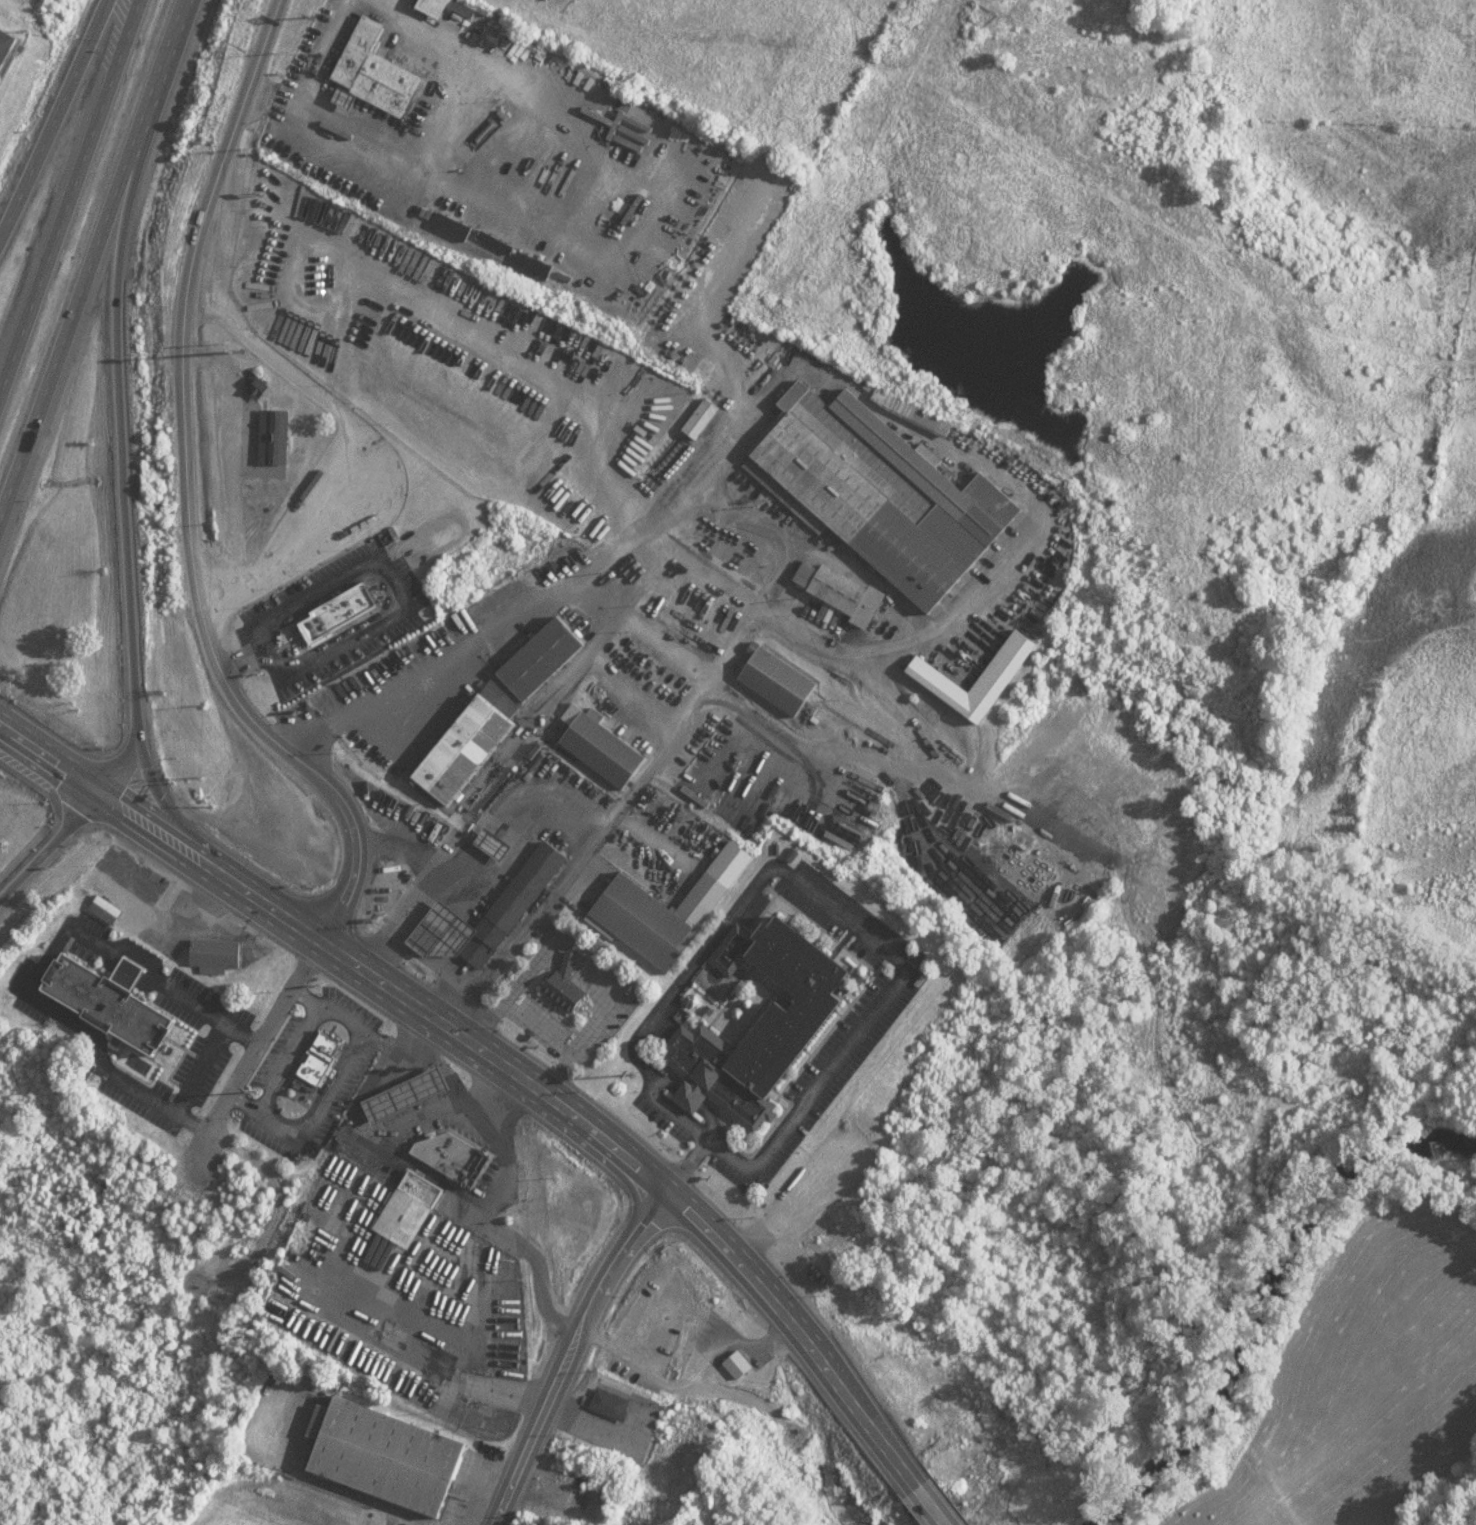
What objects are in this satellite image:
building: (6, 47)
building: (375, 71)
building: (446, 98)
road: (50, 115)
road: (64, 185)
road: (90, 253)
building: (255, 387)
building: (910, 413)
building: (701, 420)
road: (357, 435)
building: (273, 438)
road: (116, 448)
road: (228, 468)
road: (187, 494)
building: (878, 494)
building: (854, 601)
building: (338, 612)
parking lot: (331, 618)
building: (541, 659)
building: (776, 681)
building: (602, 749)
building: (464, 751)
road: (51, 759)
road: (149, 771)
traffic signals: (103, 794)
building: (1098, 806)
road: (567, 814)
building: (1119, 825)
road: (154, 827)
road: (51, 846)
road: (411, 853)
building: (538, 870)
road: (237, 882)
building: (108, 911)
building: (653, 919)
road: (844, 919)
building: (493, 927)
gas station: (440, 931)
building: (215, 955)
road: (356, 959)
road: (43, 961)
parking lot: (463, 976)
building: (563, 986)
building: (111, 999)
building: (751, 1018)
parking lot: (131, 1019)
road: (342, 1021)
parking lot: (539, 1026)
parking lot: (859, 1029)
road: (406, 1042)
road: (297, 1045)
road: (256, 1048)
building: (316, 1062)
road: (200, 1068)
parking lot: (309, 1075)
road: (335, 1083)
road: (464, 1089)
building: (406, 1094)
gas station: (407, 1095)
road: (263, 1117)
parking lot: (430, 1133)
building: (445, 1154)
building: (475, 1169)
building: (408, 1209)
road: (696, 1221)
river: (1277, 1324)
road: (575, 1352)
building: (608, 1405)
parking lot: (614, 1429)
building: (386, 1455)
parking lot: (463, 1490)
road: (915, 1501)

